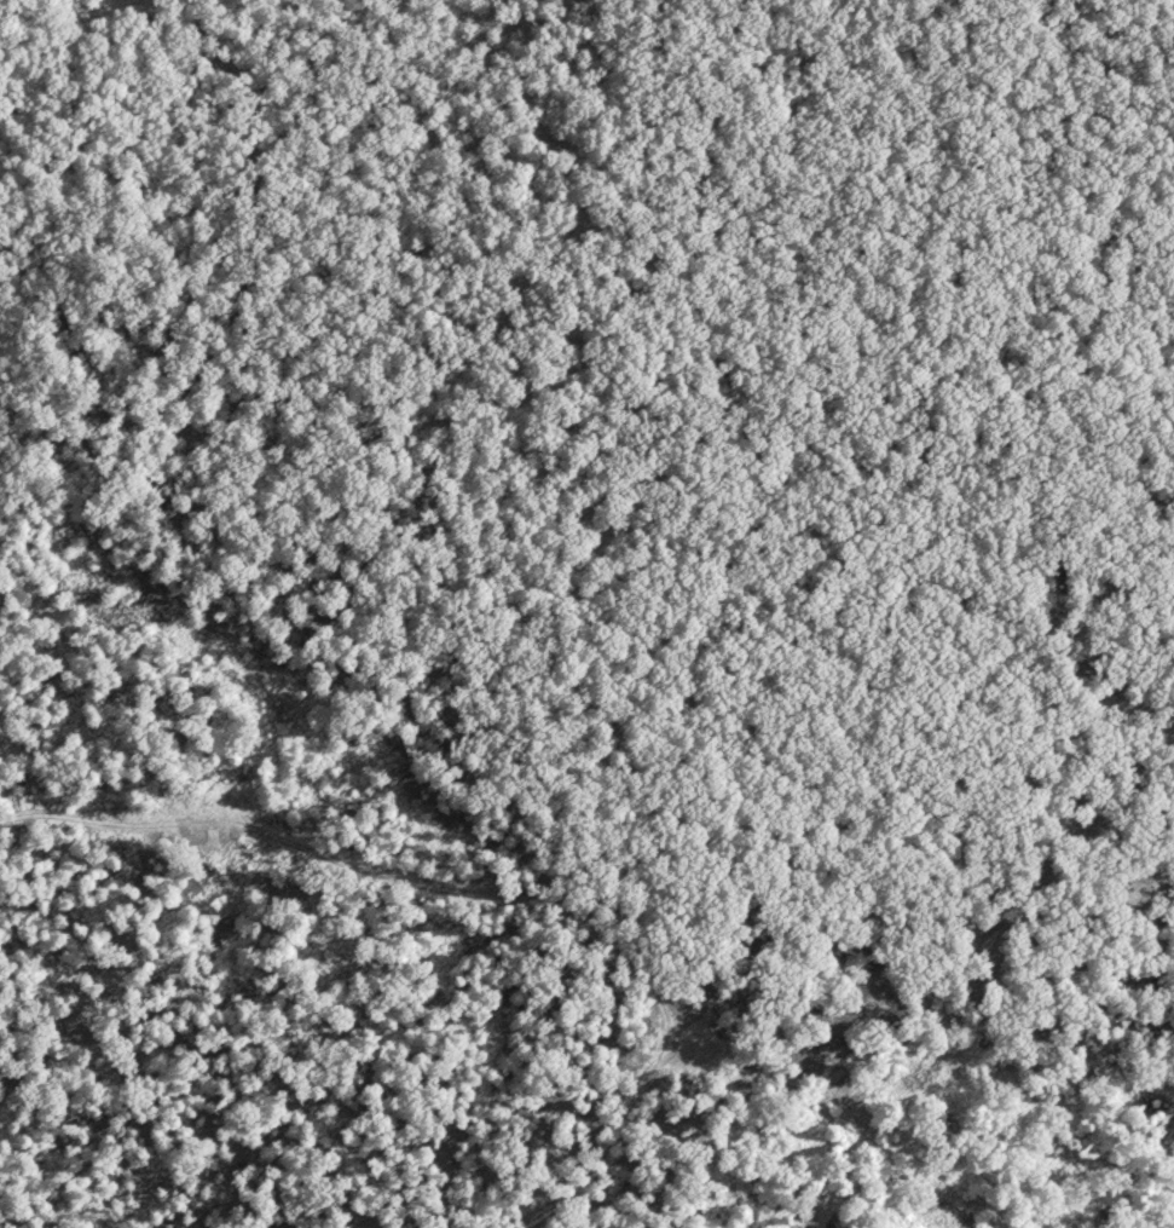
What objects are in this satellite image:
road: (383, 864)

